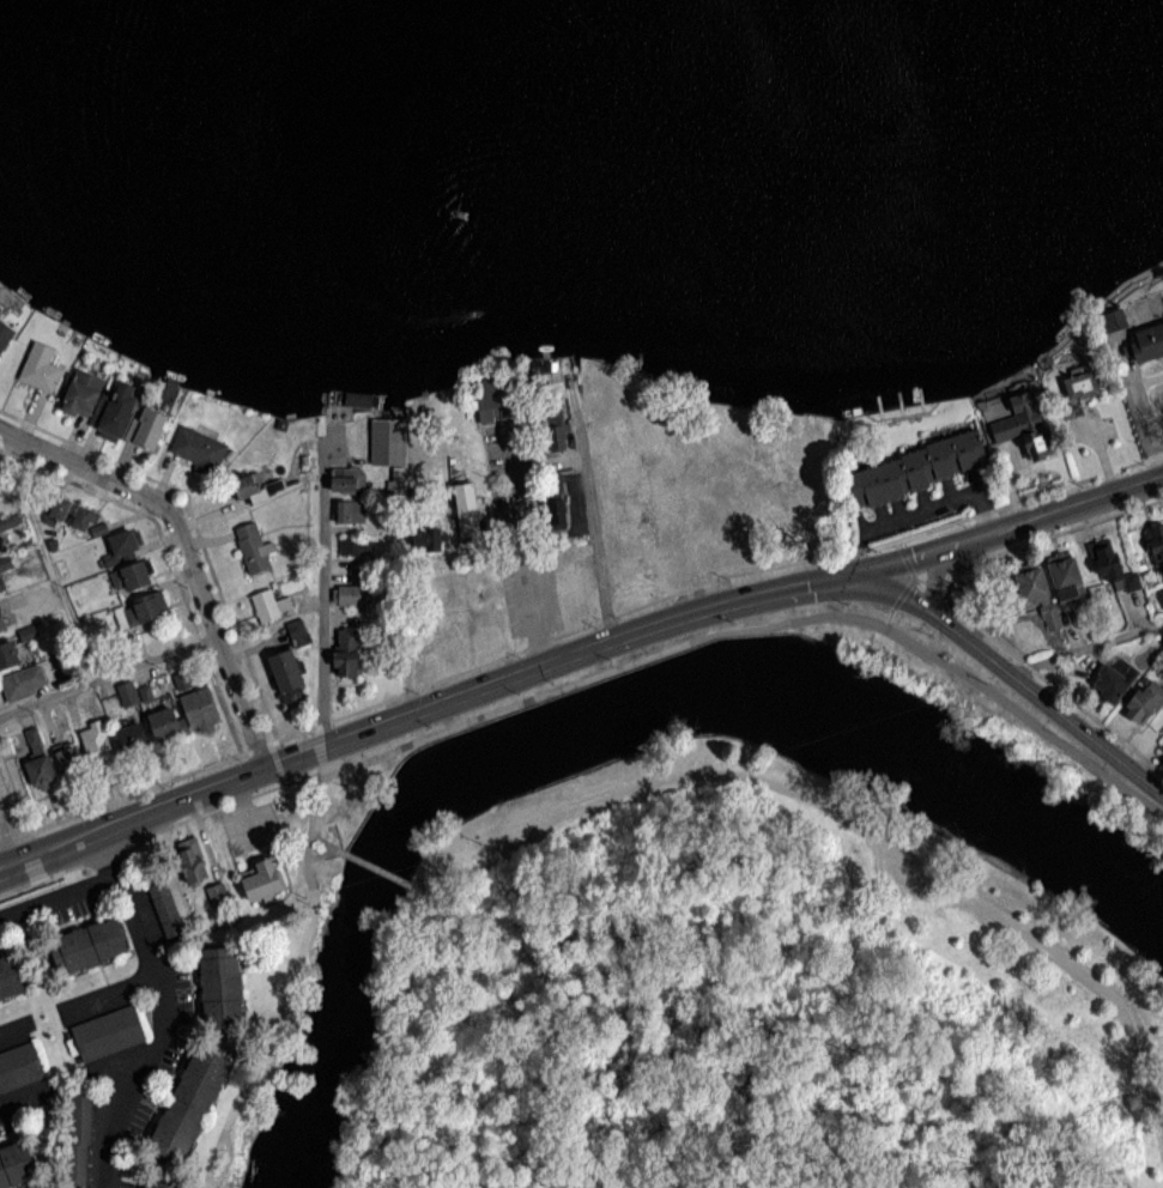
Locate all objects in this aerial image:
river: (564, 57)
building: (1149, 332)
building: (5, 334)
building: (592, 383)
building: (1080, 388)
building: (75, 398)
building: (119, 411)
road: (1138, 414)
building: (725, 425)
building: (150, 426)
building: (553, 426)
building: (1025, 430)
building: (198, 449)
building: (628, 462)
building: (919, 468)
building: (347, 478)
building: (255, 485)
building: (555, 501)
road: (589, 507)
building: (467, 508)
building: (60, 509)
building: (350, 510)
building: (83, 517)
building: (714, 517)
building: (773, 519)
road: (192, 522)
road: (1007, 523)
road: (671, 532)
road: (1048, 533)
building: (428, 535)
building: (1156, 543)
building: (355, 545)
building: (123, 546)
building: (253, 546)
road: (184, 548)
road: (525, 548)
road: (166, 554)
building: (5, 563)
building: (1108, 563)
traffic signals: (852, 572)
building: (137, 574)
road: (909, 574)
road: (934, 575)
road: (927, 580)
building: (1, 582)
building: (1050, 587)
road: (321, 593)
building: (356, 593)
building: (1162, 593)
building: (269, 604)
building: (141, 610)
road: (888, 617)
building: (2, 619)
road: (756, 625)
road: (575, 626)
building: (298, 631)
road: (1085, 644)
building: (13, 653)
building: (346, 654)
road: (105, 673)
building: (289, 674)
road: (1012, 675)
road: (1048, 680)
building: (1114, 680)
building: (24, 683)
building: (128, 693)
building: (1143, 704)
road: (422, 707)
building: (186, 716)
river: (608, 716)
building: (133, 735)
building: (96, 741)
building: (1162, 748)
building: (68, 758)
road: (12, 795)
road: (157, 828)
road: (847, 829)
road: (8, 834)
road: (337, 848)
building: (193, 860)
road: (375, 866)
building: (262, 879)
road: (57, 897)
building: (166, 905)
building: (90, 946)
building: (11, 978)
building: (222, 988)
road: (287, 988)
road: (109, 989)
park: (747, 999)
road: (162, 1010)
road: (12, 1026)
building: (108, 1034)
building: (19, 1067)
road: (20, 1098)
building: (192, 1099)
building: (79, 1141)
building: (17, 1166)
building: (160, 1183)

